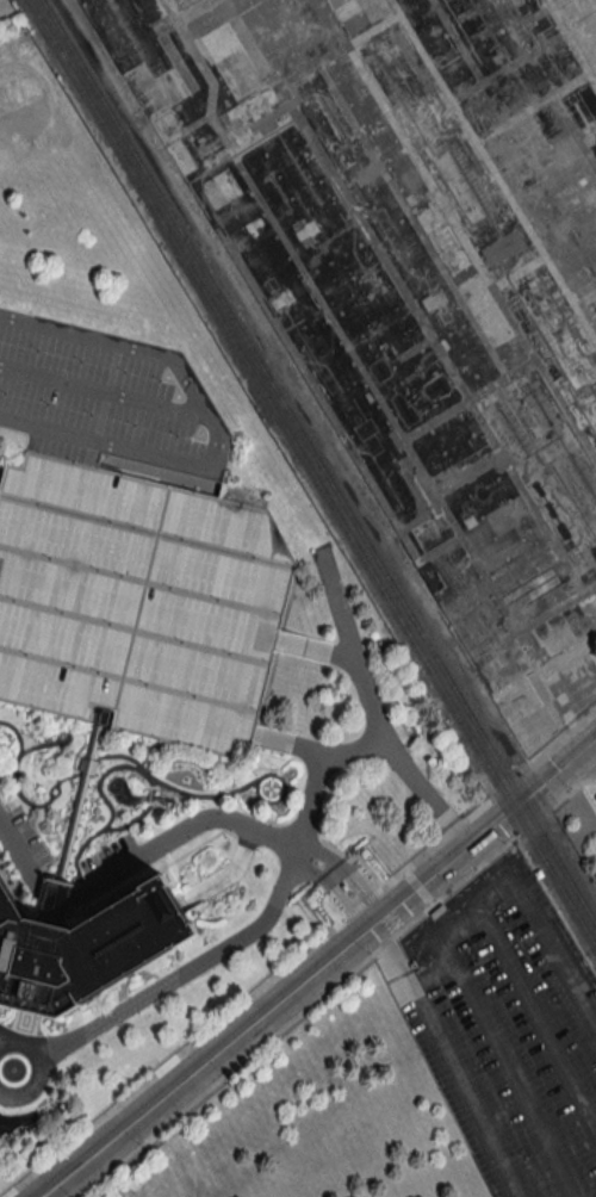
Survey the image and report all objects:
road: (104, 390)
parking lot: (105, 397)
railway: (268, 407)
road: (216, 428)
railway: (319, 463)
building: (136, 602)
parking lot: (136, 602)
road: (372, 718)
road: (563, 737)
road: (595, 742)
road: (555, 773)
road: (312, 776)
road: (576, 783)
road: (181, 830)
road: (510, 873)
railway: (555, 876)
building: (83, 944)
road: (164, 986)
road: (284, 1003)
parking lot: (504, 1034)
road: (448, 1059)

